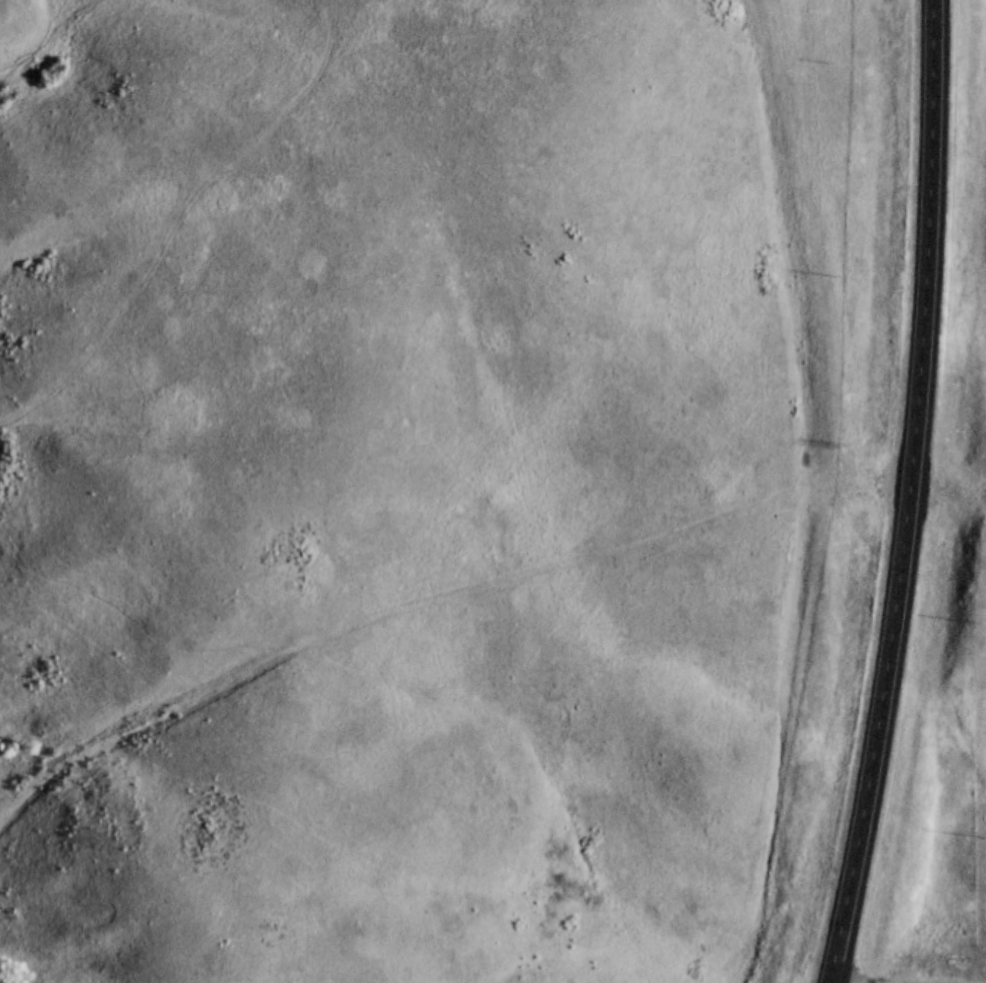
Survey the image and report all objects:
road: (912, 493)

